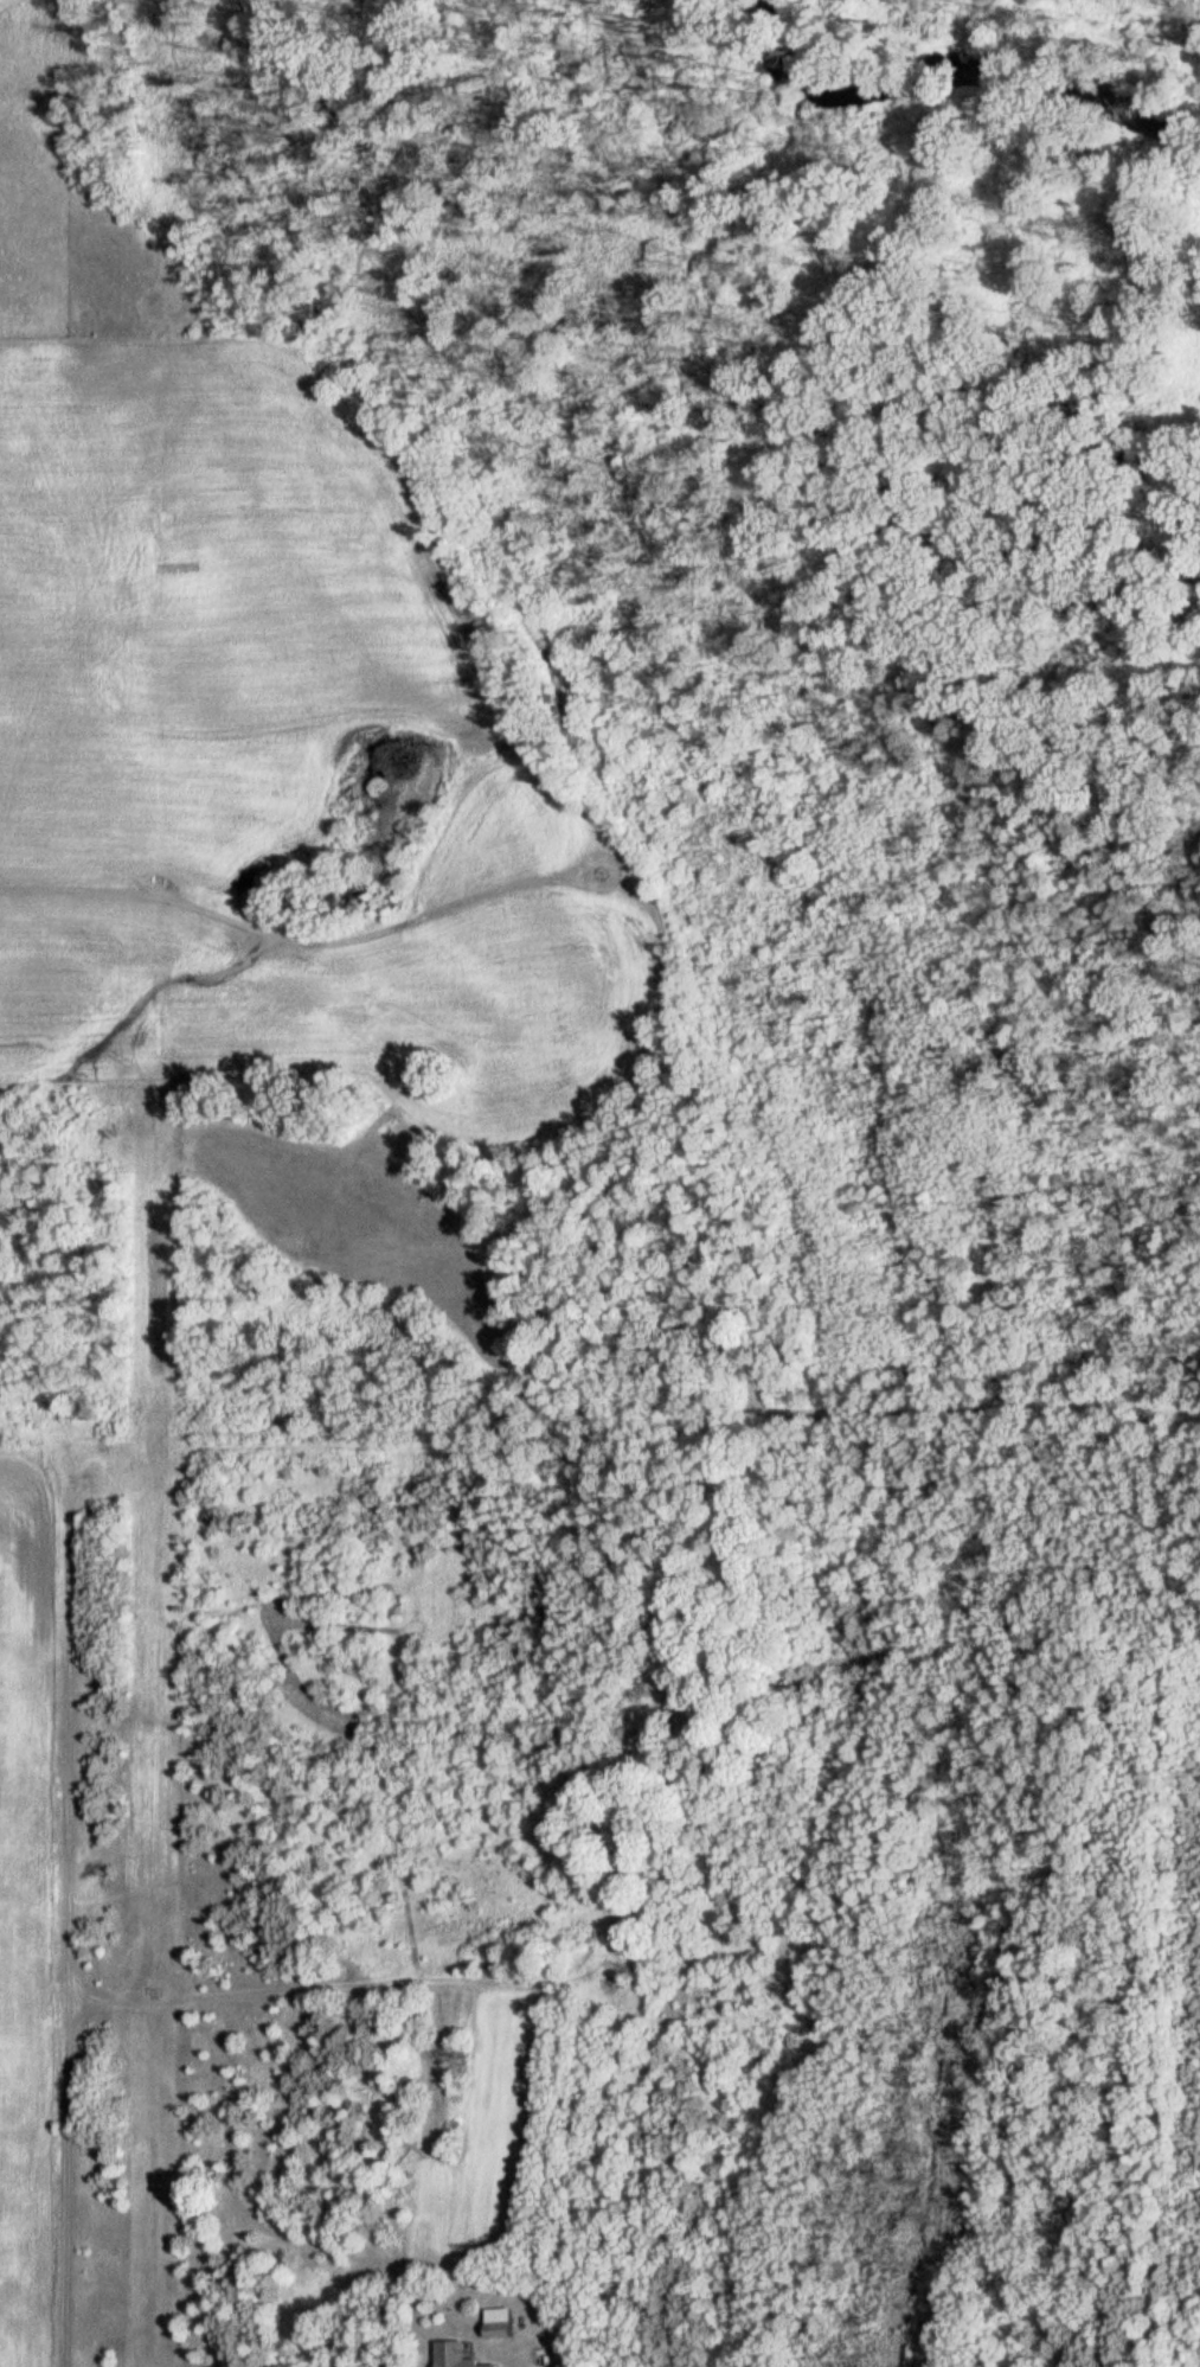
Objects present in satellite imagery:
river: (961, 66)
building: (507, 2322)
building: (462, 2355)

